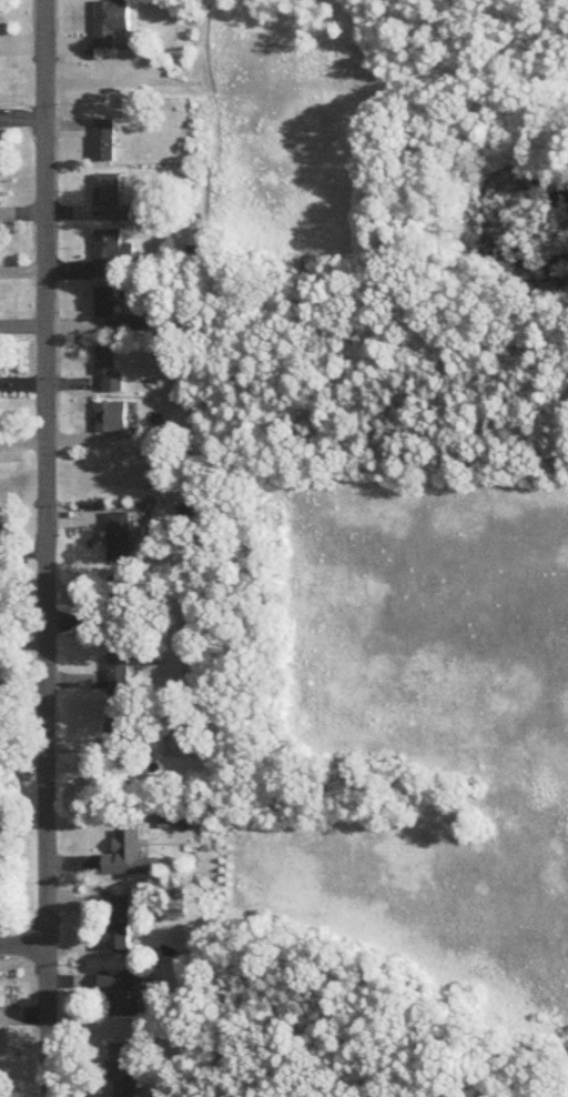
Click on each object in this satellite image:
building: (110, 20)
building: (103, 137)
building: (110, 190)
building: (106, 248)
building: (104, 299)
building: (138, 320)
building: (108, 365)
building: (111, 413)
building: (119, 533)
road: (47, 548)
building: (120, 584)
building: (120, 662)
building: (116, 721)
building: (128, 852)
building: (118, 920)
road: (23, 938)
building: (120, 989)
building: (123, 1067)

